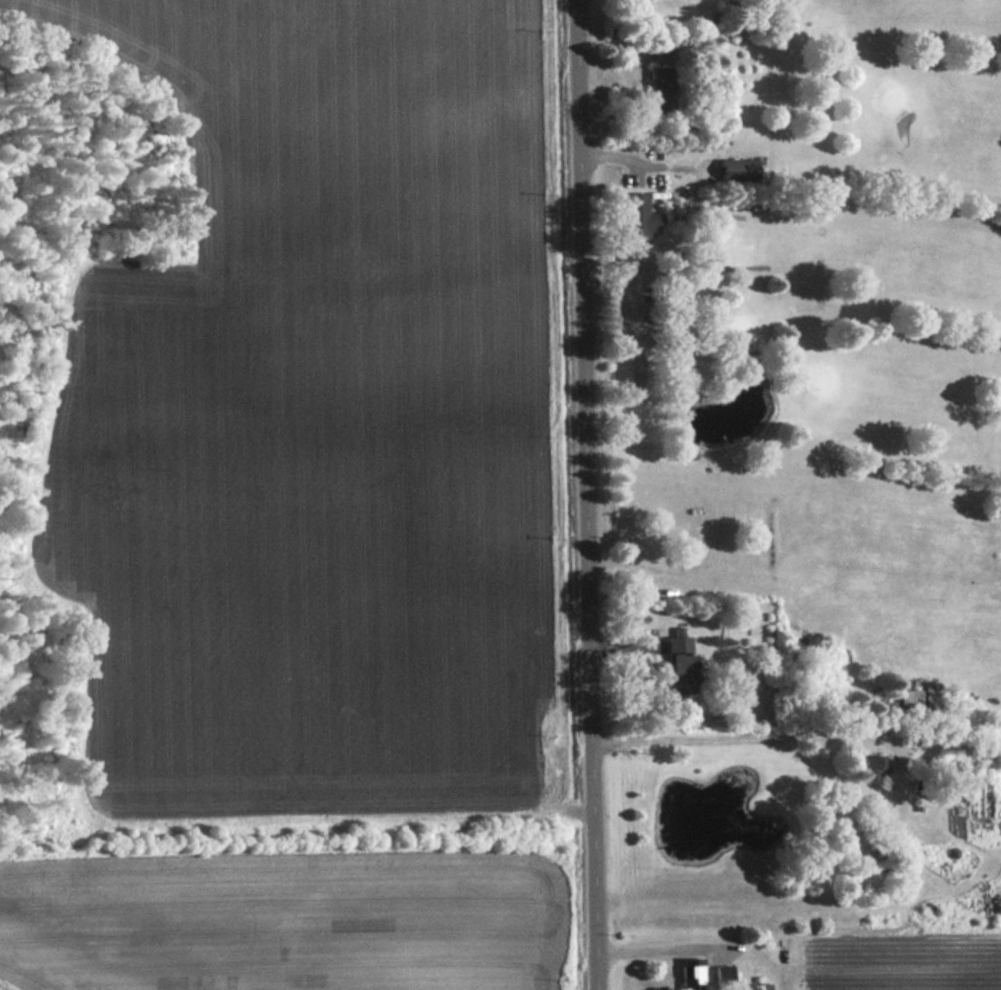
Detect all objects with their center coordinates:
building: (738, 23)
building: (662, 91)
parking lot: (632, 164)
building: (740, 171)
building: (641, 220)
park: (817, 337)
road: (587, 494)
building: (681, 667)
building: (912, 701)
building: (873, 769)
building: (982, 807)
road: (296, 816)
building: (693, 975)
building: (726, 978)
building: (764, 987)

